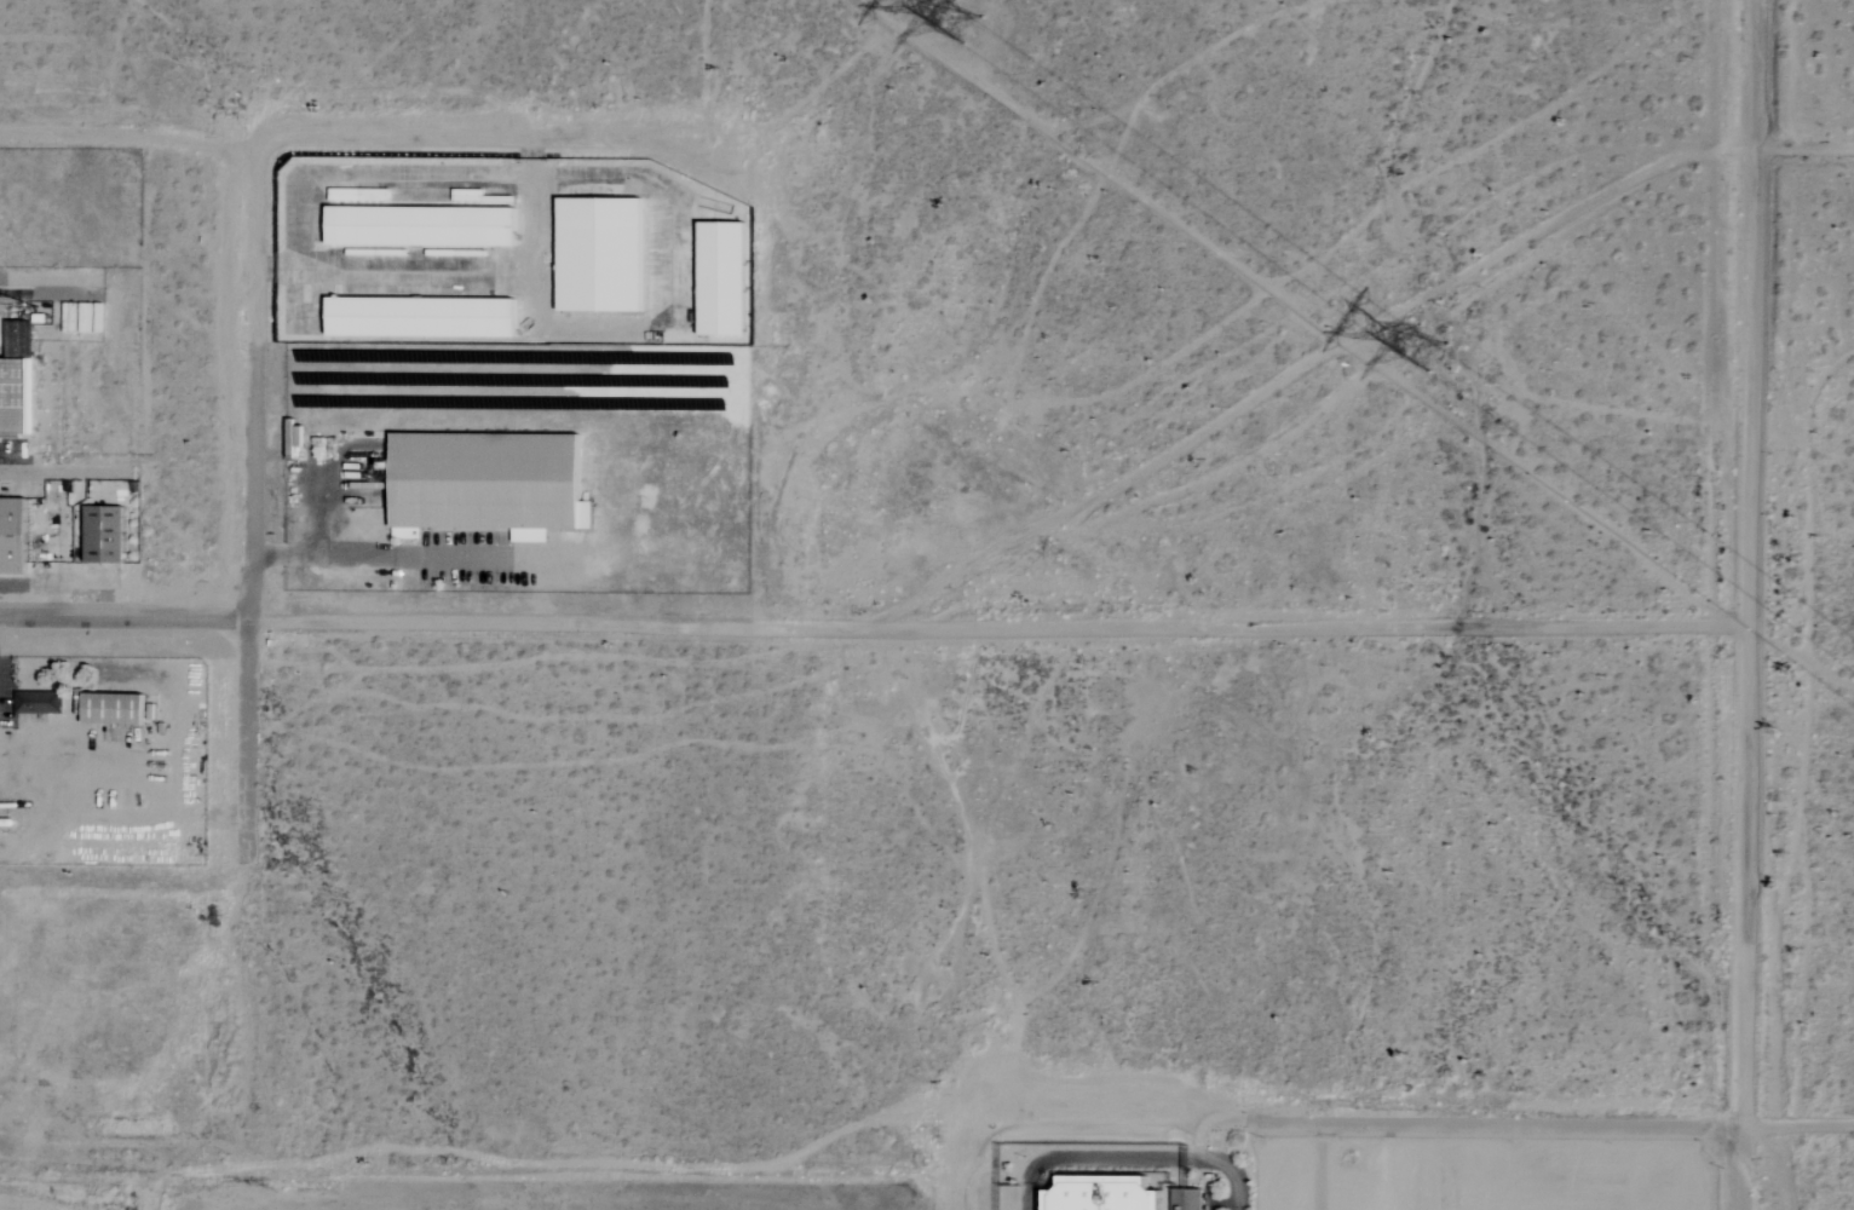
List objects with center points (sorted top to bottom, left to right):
power tower: (951, 17)
road: (874, 143)
road: (1801, 149)
building: (419, 225)
building: (598, 253)
building: (720, 277)
building: (419, 316)
power tower: (1428, 351)
building: (12, 396)
building: (486, 482)
road: (253, 490)
road: (312, 525)
building: (102, 534)
building: (12, 535)
road: (402, 541)
road: (1752, 606)
road: (120, 618)
road: (997, 634)
building: (38, 702)
building: (111, 708)
road: (1583, 1146)
road: (1121, 1158)
road: (1733, 1169)
building: (1102, 1198)

